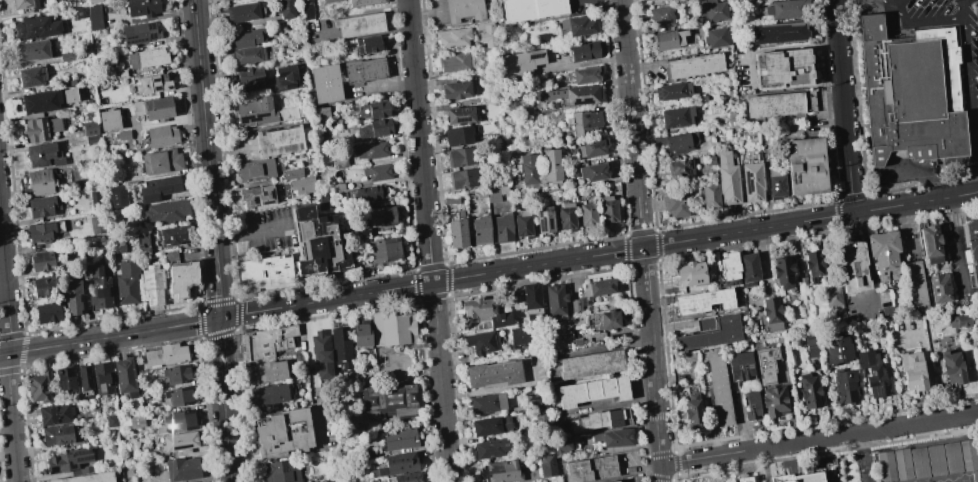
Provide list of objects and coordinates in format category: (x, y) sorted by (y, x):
building: (52, 0)
building: (653, 0)
building: (93, 1)
building: (328, 1)
building: (738, 1)
road: (846, 1)
building: (363, 2)
building: (26, 4)
building: (141, 7)
building: (285, 9)
building: (530, 9)
building: (787, 9)
building: (463, 10)
building: (711, 10)
building: (80, 11)
building: (307, 12)
building: (242, 13)
building: (94, 16)
building: (660, 16)
road: (921, 23)
rooftop solar panel: (149, 25)
building: (359, 25)
building: (578, 25)
building: (35, 27)
building: (777, 32)
building: (139, 34)
building: (486, 34)
rooftop solar panel: (131, 36)
rooftop solar panel: (150, 36)
building: (453, 37)
building: (716, 37)
building: (245, 38)
building: (672, 39)
rooftop solar panel: (134, 40)
building: (367, 44)
building: (32, 50)
building: (581, 51)
building: (70, 55)
building: (248, 55)
rooftop solar panel: (534, 56)
building: (147, 58)
building: (455, 61)
building: (488, 65)
building: (514, 65)
rooftop solar panel: (681, 65)
building: (693, 65)
building: (781, 68)
building: (364, 70)
road: (968, 71)
building: (118, 73)
building: (585, 75)
building: (31, 76)
building: (249, 77)
building: (284, 77)
rooftop solar panel: (155, 79)
rooftop solar panel: (258, 82)
building: (326, 83)
building: (152, 84)
rooftop solar panel: (155, 87)
rooftop solar panel: (167, 87)
building: (456, 90)
building: (671, 91)
building: (915, 94)
building: (69, 95)
building: (581, 95)
building: (551, 99)
road: (629, 99)
rooftop solar panel: (582, 100)
building: (40, 101)
parking lot: (971, 101)
building: (779, 104)
road: (843, 106)
building: (154, 109)
building: (375, 110)
building: (253, 112)
building: (289, 112)
building: (321, 112)
building: (459, 115)
building: (675, 117)
building: (109, 119)
building: (582, 122)
building: (54, 124)
building: (90, 128)
building: (374, 128)
building: (35, 129)
road: (205, 132)
building: (121, 135)
building: (458, 135)
building: (162, 136)
building: (92, 139)
building: (279, 141)
building: (675, 142)
road: (976, 145)
building: (588, 149)
building: (372, 150)
building: (42, 155)
building: (461, 157)
building: (160, 161)
building: (340, 162)
building: (550, 165)
building: (805, 166)
building: (680, 168)
building: (255, 169)
building: (379, 171)
building: (528, 171)
building: (592, 172)
building: (292, 173)
road: (920, 175)
building: (462, 178)
building: (504, 179)
building: (727, 179)
building: (494, 181)
building: (40, 182)
building: (751, 182)
building: (81, 183)
rooftop solar panel: (748, 184)
building: (775, 184)
building: (302, 185)
building: (158, 188)
rooftop solar panel: (167, 190)
building: (369, 194)
building: (494, 194)
building: (257, 195)
building: (117, 196)
building: (709, 197)
rooftop solar panel: (154, 198)
building: (94, 200)
building: (674, 201)
building: (41, 206)
building: (607, 209)
building: (165, 212)
building: (587, 214)
building: (455, 215)
building: (565, 215)
building: (380, 217)
building: (544, 220)
road: (638, 223)
road: (645, 223)
building: (97, 224)
building: (522, 224)
rooftop solar panel: (547, 224)
rooftop solar panel: (540, 226)
building: (502, 228)
road: (904, 229)
parking lot: (264, 230)
building: (480, 230)
building: (41, 232)
road: (251, 232)
building: (456, 233)
building: (174, 234)
road: (428, 241)
building: (142, 242)
building: (316, 242)
road: (957, 244)
building: (117, 245)
building: (931, 245)
building: (973, 247)
building: (382, 250)
road: (598, 255)
building: (884, 255)
building: (41, 261)
building: (813, 264)
parking lot: (960, 265)
building: (853, 267)
building: (728, 269)
building: (749, 269)
building: (690, 273)
building: (783, 273)
building: (267, 274)
building: (181, 277)
building: (127, 282)
building: (803, 283)
building: (152, 284)
building: (916, 284)
building: (45, 286)
building: (99, 288)
building: (600, 288)
building: (940, 289)
road: (218, 292)
building: (72, 297)
building: (834, 297)
building: (532, 301)
building: (555, 301)
building: (703, 301)
building: (577, 306)
building: (47, 312)
building: (889, 312)
building: (976, 312)
building: (484, 313)
building: (772, 315)
traffic signals: (220, 318)
building: (606, 320)
building: (959, 321)
building: (394, 327)
building: (977, 329)
building: (710, 333)
building: (524, 334)
building: (361, 335)
road: (110, 336)
building: (577, 338)
building: (811, 340)
building: (977, 340)
building: (271, 341)
building: (481, 342)
building: (552, 343)
building: (340, 345)
road: (221, 346)
road: (10, 351)
building: (837, 351)
building: (320, 354)
building: (165, 355)
building: (690, 357)
building: (591, 365)
road: (654, 365)
building: (767, 365)
building: (741, 367)
building: (953, 368)
building: (271, 372)
building: (912, 372)
rooftop solar panel: (871, 373)
building: (176, 374)
building: (492, 374)
building: (873, 374)
building: (125, 376)
building: (65, 378)
building: (84, 378)
building: (102, 378)
rooftop solar panel: (869, 386)
building: (40, 387)
building: (844, 387)
rooftop solar panel: (875, 391)
building: (593, 392)
building: (719, 392)
building: (809, 392)
building: (176, 396)
building: (273, 396)
building: (392, 401)
building: (486, 402)
building: (775, 402)
road: (895, 402)
building: (752, 406)
building: (693, 411)
building: (56, 413)
building: (111, 421)
building: (135, 421)
building: (179, 421)
building: (601, 421)
building: (490, 426)
road: (226, 429)
building: (282, 432)
building: (58, 434)
building: (399, 438)
building: (614, 439)
road: (819, 439)
building: (179, 441)
building: (490, 448)
building: (562, 448)
rooftop solar panel: (80, 453)
building: (516, 453)
building: (969, 455)
rooftop solar panel: (83, 459)
building: (952, 459)
building: (67, 460)
building: (936, 461)
building: (400, 463)
building: (919, 464)
building: (902, 465)
building: (547, 466)
building: (886, 467)
building: (181, 469)
building: (592, 470)
building: (499, 471)
building: (280, 472)
building: (87, 477)
building: (408, 477)
building: (975, 477)
building: (801, 478)
building: (743, 480)
building: (617, 481)

